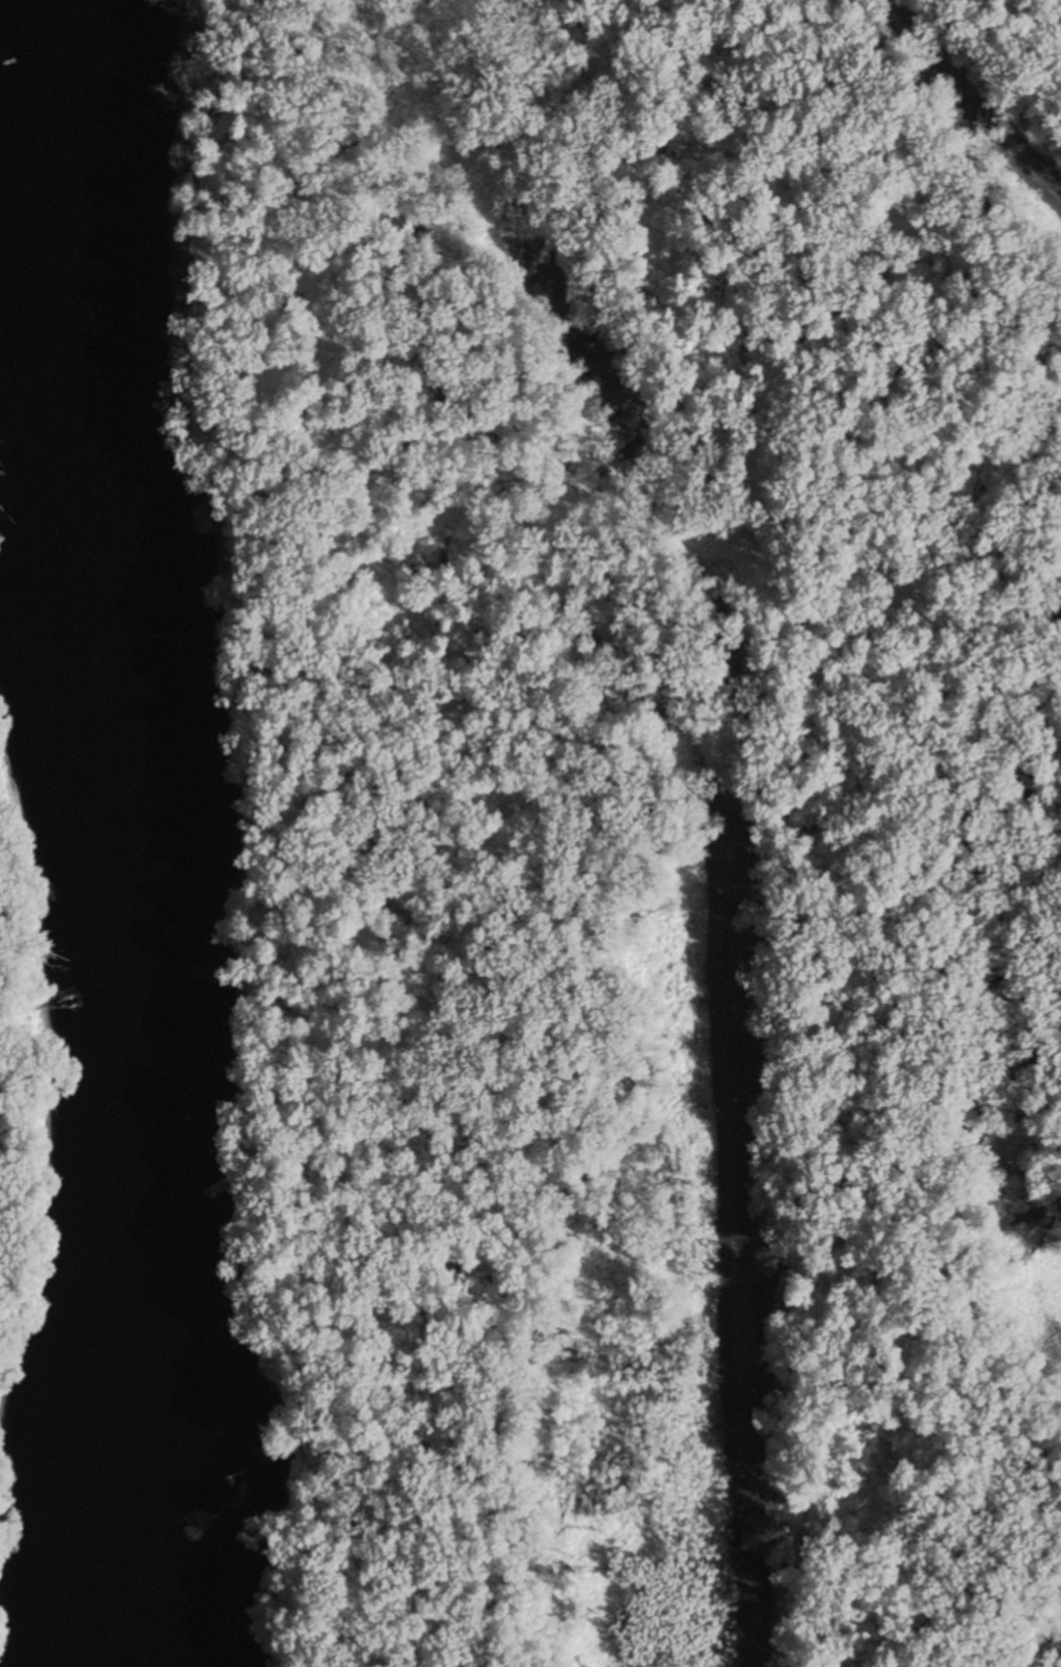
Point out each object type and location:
road: (813, 814)

